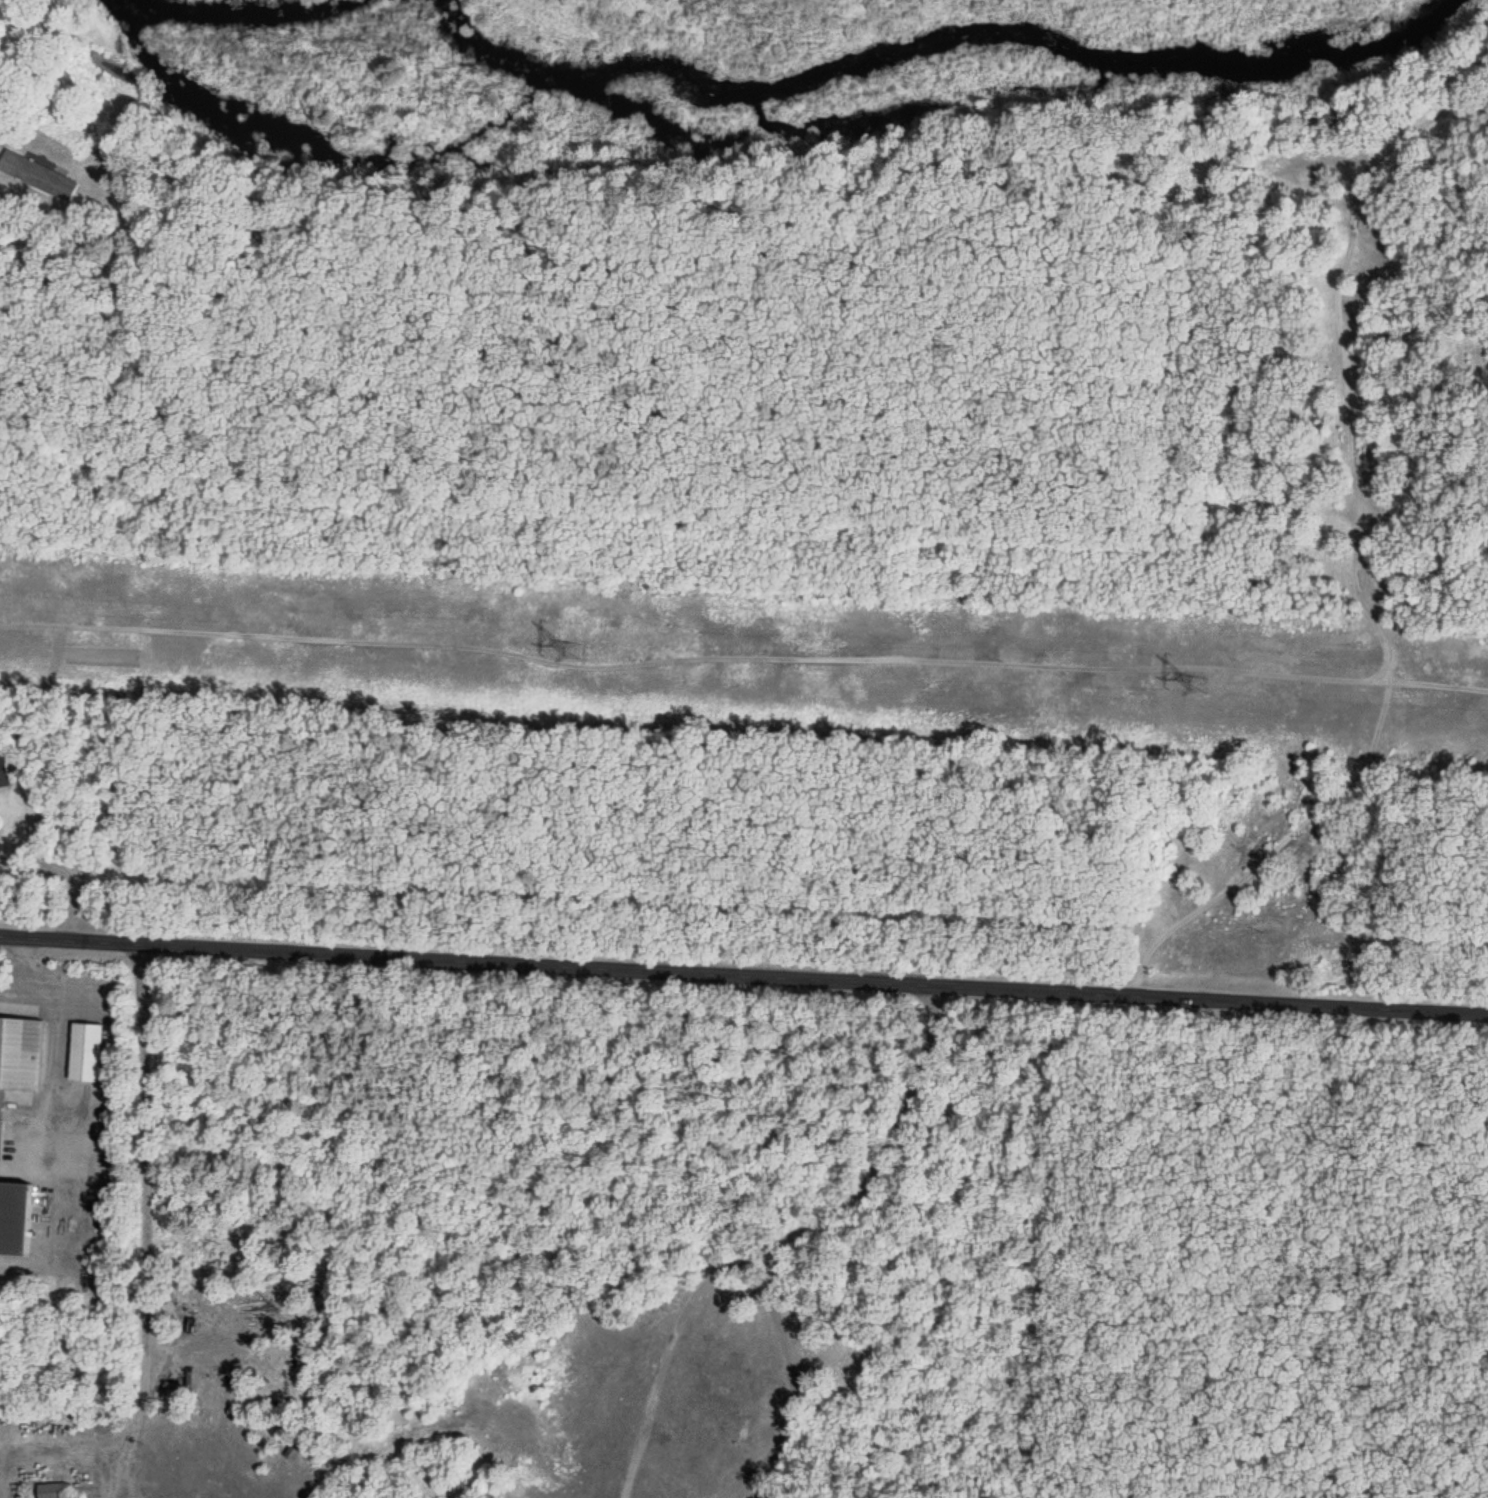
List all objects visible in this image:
building: (39, 177)
road: (1356, 551)
power tower: (573, 651)
road: (743, 669)
power tower: (1196, 685)
building: (3, 774)
road: (744, 976)
building: (85, 1053)
building: (20, 1054)
building: (14, 1217)
building: (166, 1400)
building: (51, 1491)

